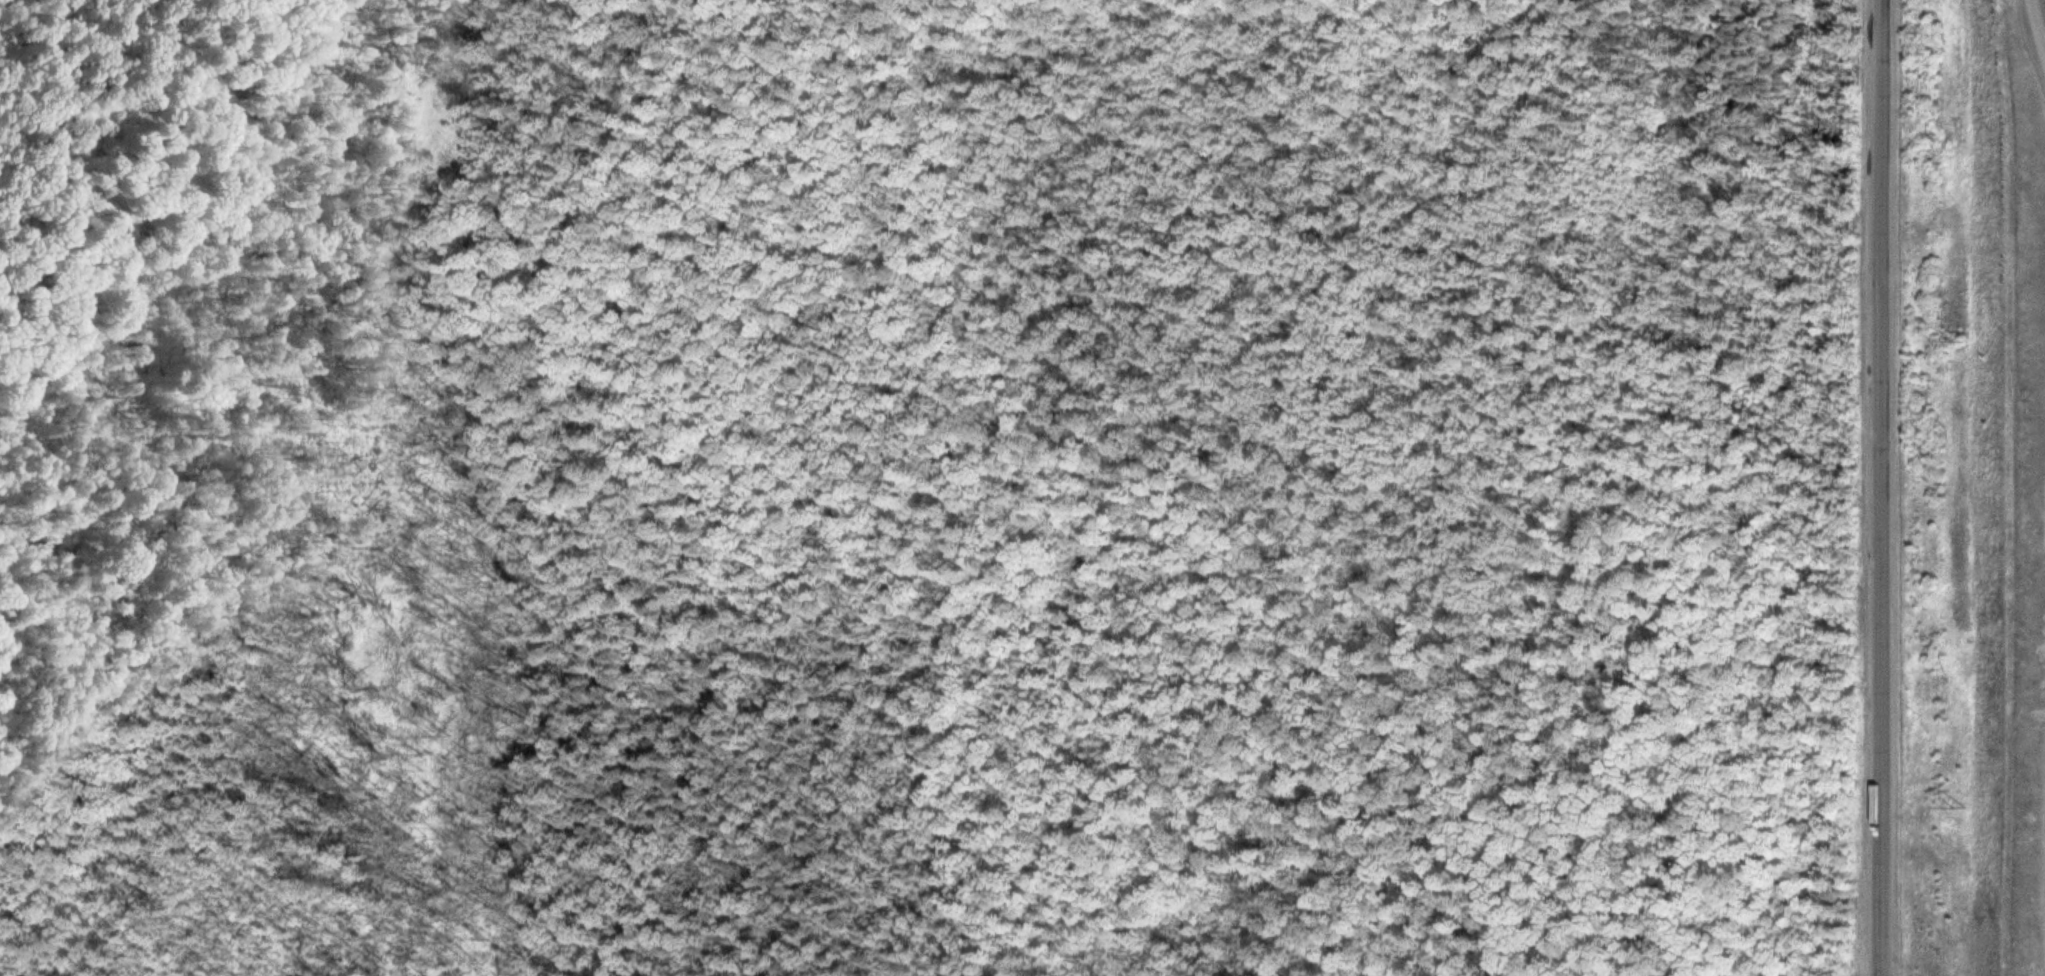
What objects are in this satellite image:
road: (161, 178)
quarry: (2030, 433)
park: (925, 478)
road: (1877, 488)

